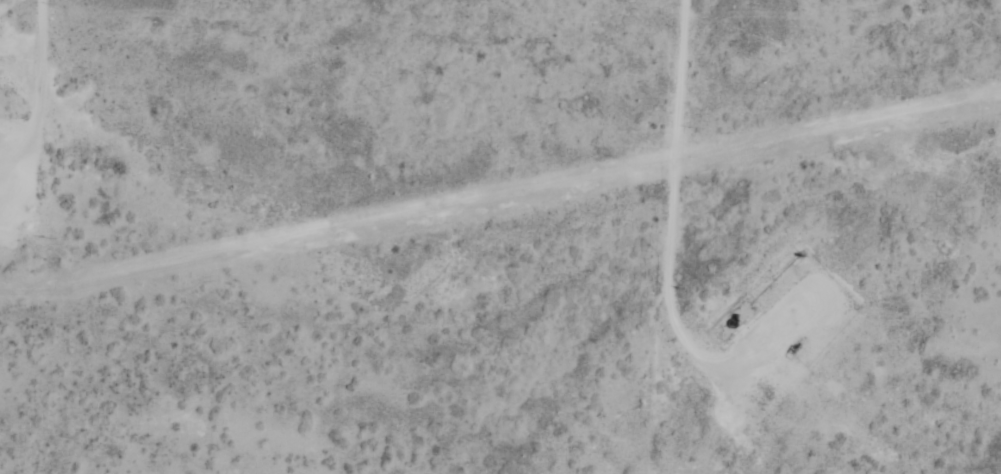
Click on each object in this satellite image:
road: (18, 55)

